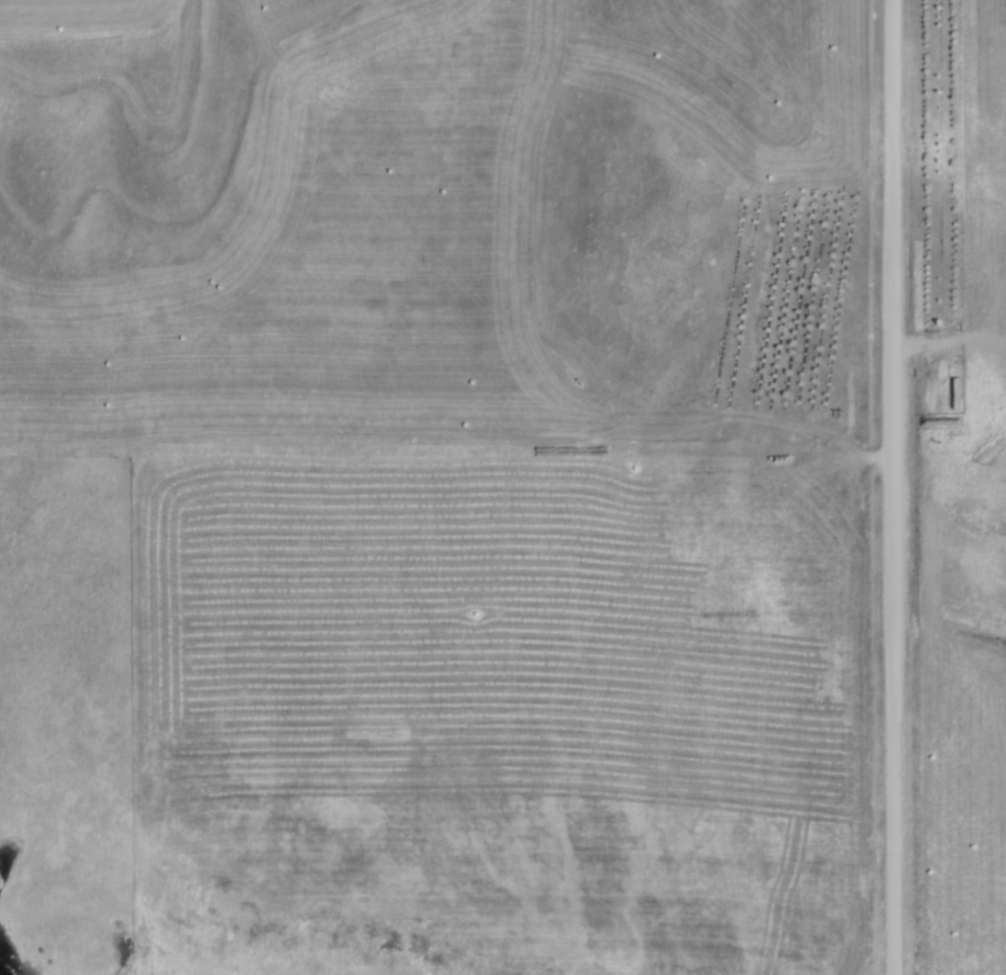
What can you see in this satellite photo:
road: (894, 487)

